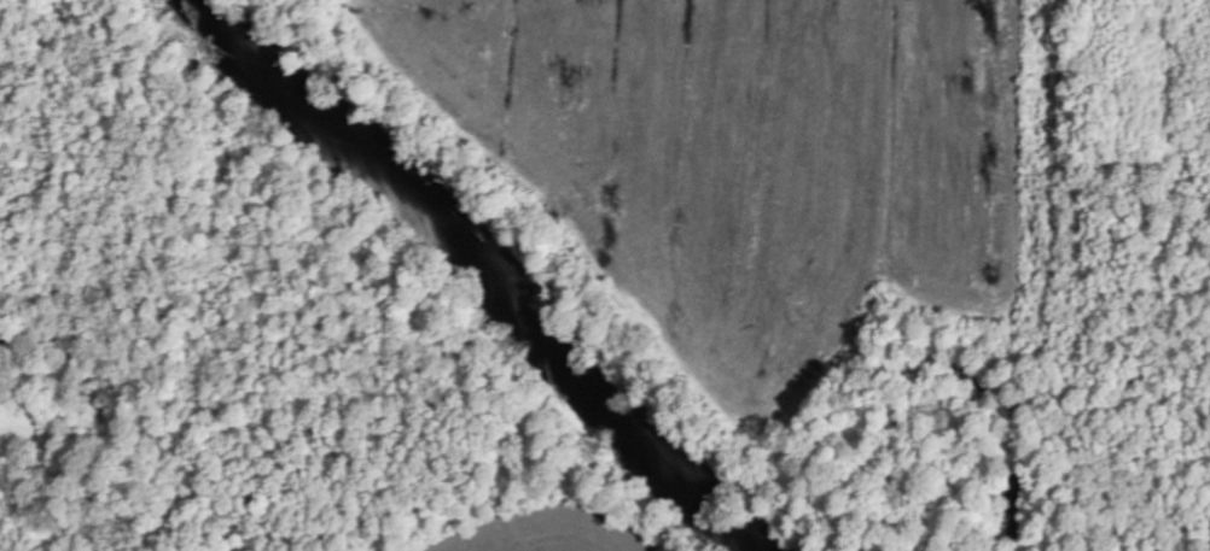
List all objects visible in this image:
river: (479, 266)

